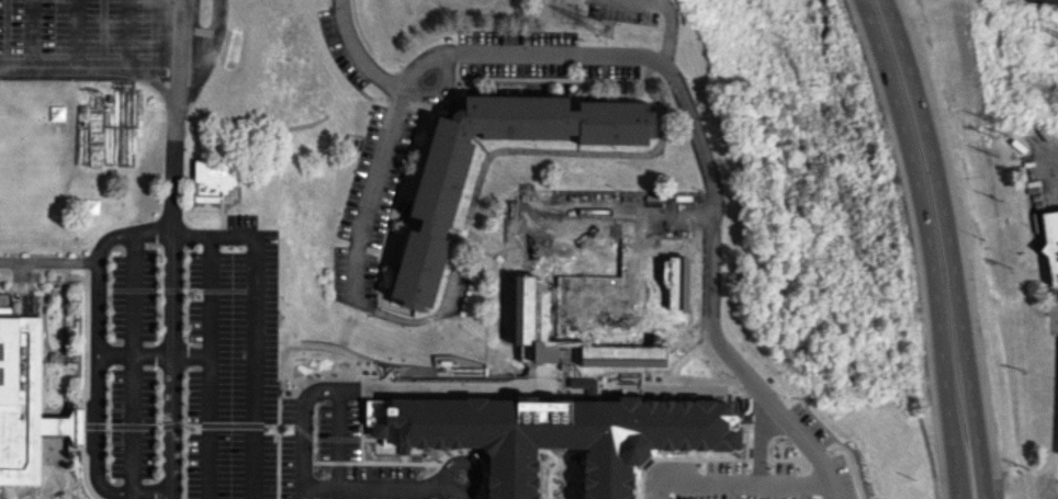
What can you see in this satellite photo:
road: (665, 9)
road: (180, 47)
road: (207, 52)
road: (356, 54)
road: (89, 70)
road: (160, 90)
road: (704, 160)
road: (1057, 165)
building: (212, 179)
building: (438, 209)
road: (618, 211)
road: (189, 235)
building: (1050, 243)
road: (928, 245)
road: (949, 246)
road: (48, 260)
road: (356, 264)
road: (255, 266)
road: (171, 297)
road: (136, 349)
road: (134, 352)
road: (95, 363)
building: (25, 402)
road: (203, 427)
road: (300, 429)
building: (1057, 433)
building: (556, 434)
road: (731, 477)
road: (315, 486)
road: (351, 487)
road: (151, 491)

